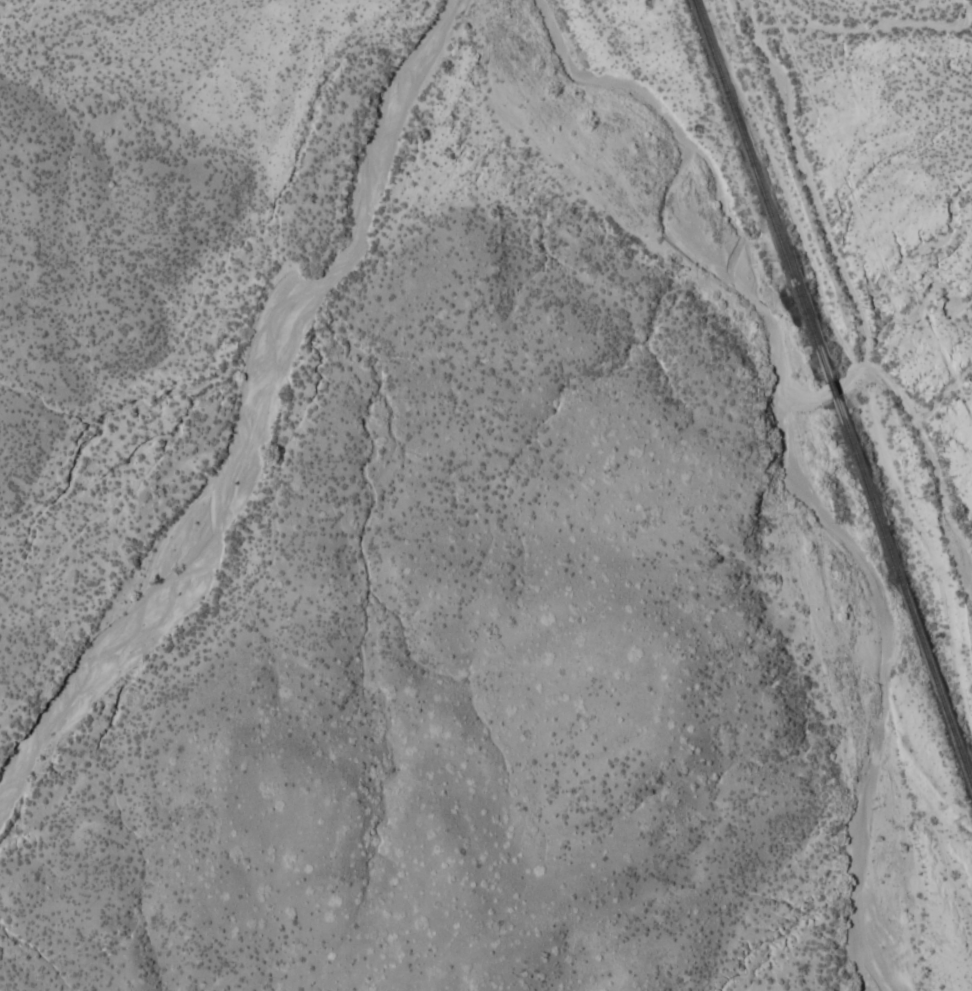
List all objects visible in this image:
railway: (760, 187)
railway: (833, 385)
railway: (904, 591)

